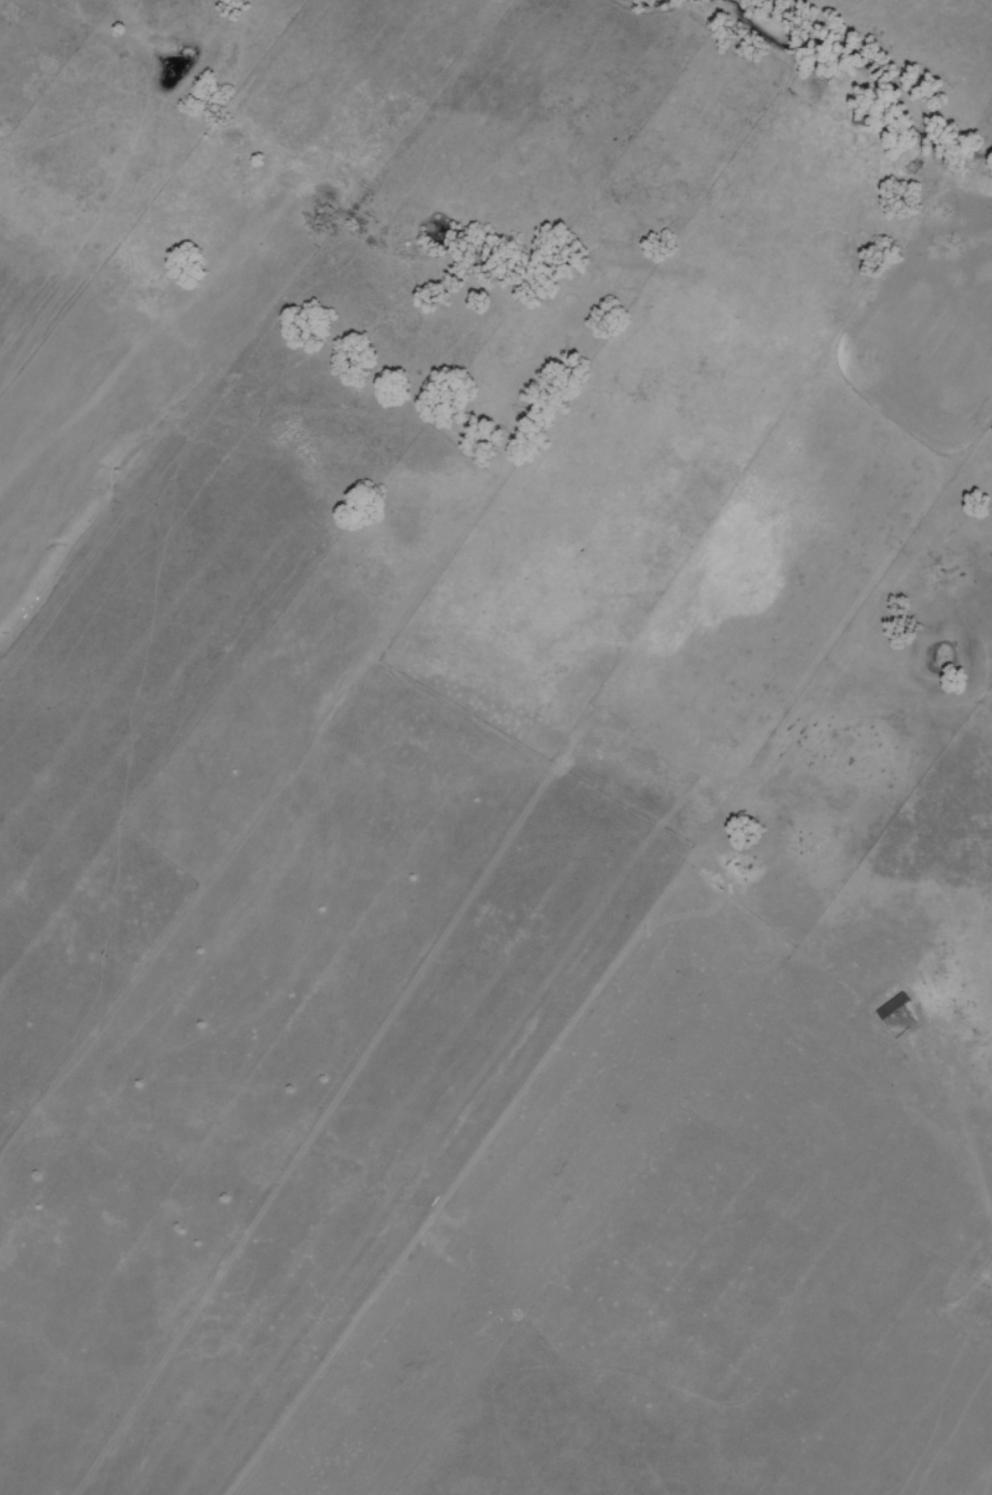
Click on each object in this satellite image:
building: (864, 119)
building: (891, 1005)

